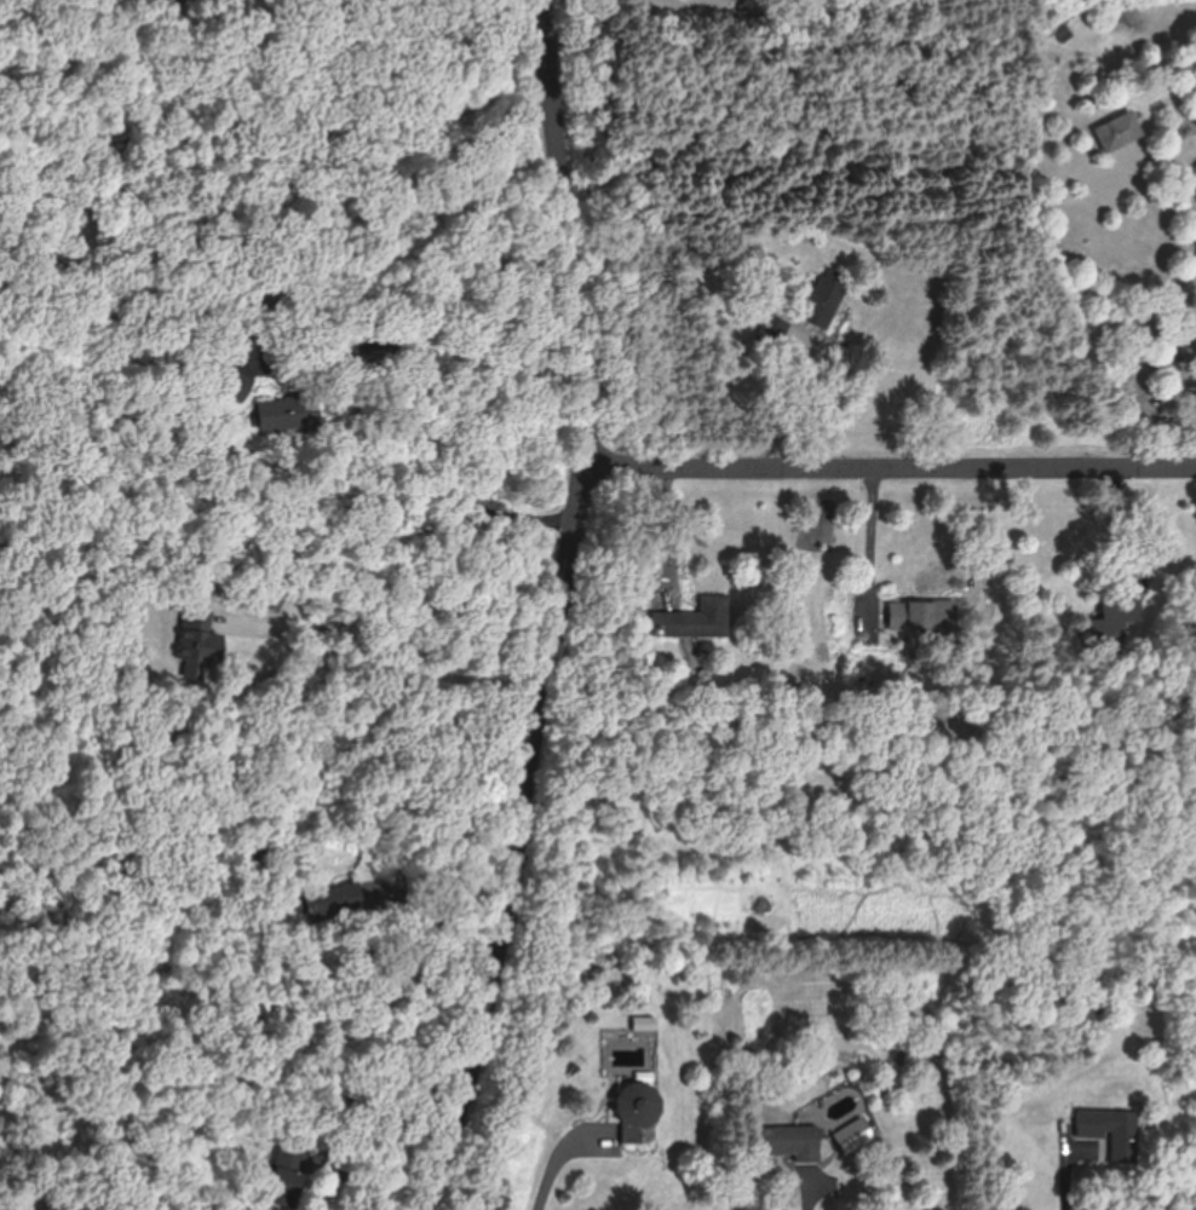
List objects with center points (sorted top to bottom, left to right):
building: (1059, 29)
road: (586, 36)
building: (1120, 132)
building: (821, 300)
building: (776, 328)
road: (777, 370)
building: (237, 385)
building: (288, 413)
road: (432, 460)
road: (891, 465)
road: (662, 524)
road: (872, 531)
road: (559, 611)
building: (926, 617)
building: (696, 620)
building: (1117, 621)
road: (401, 634)
building: (199, 644)
building: (335, 901)
road: (441, 922)
building: (644, 1025)
building: (637, 1112)
building: (1112, 1133)
building: (853, 1137)
building: (792, 1145)
road: (554, 1165)
road: (1069, 1166)
building: (282, 1187)
road: (813, 1188)

